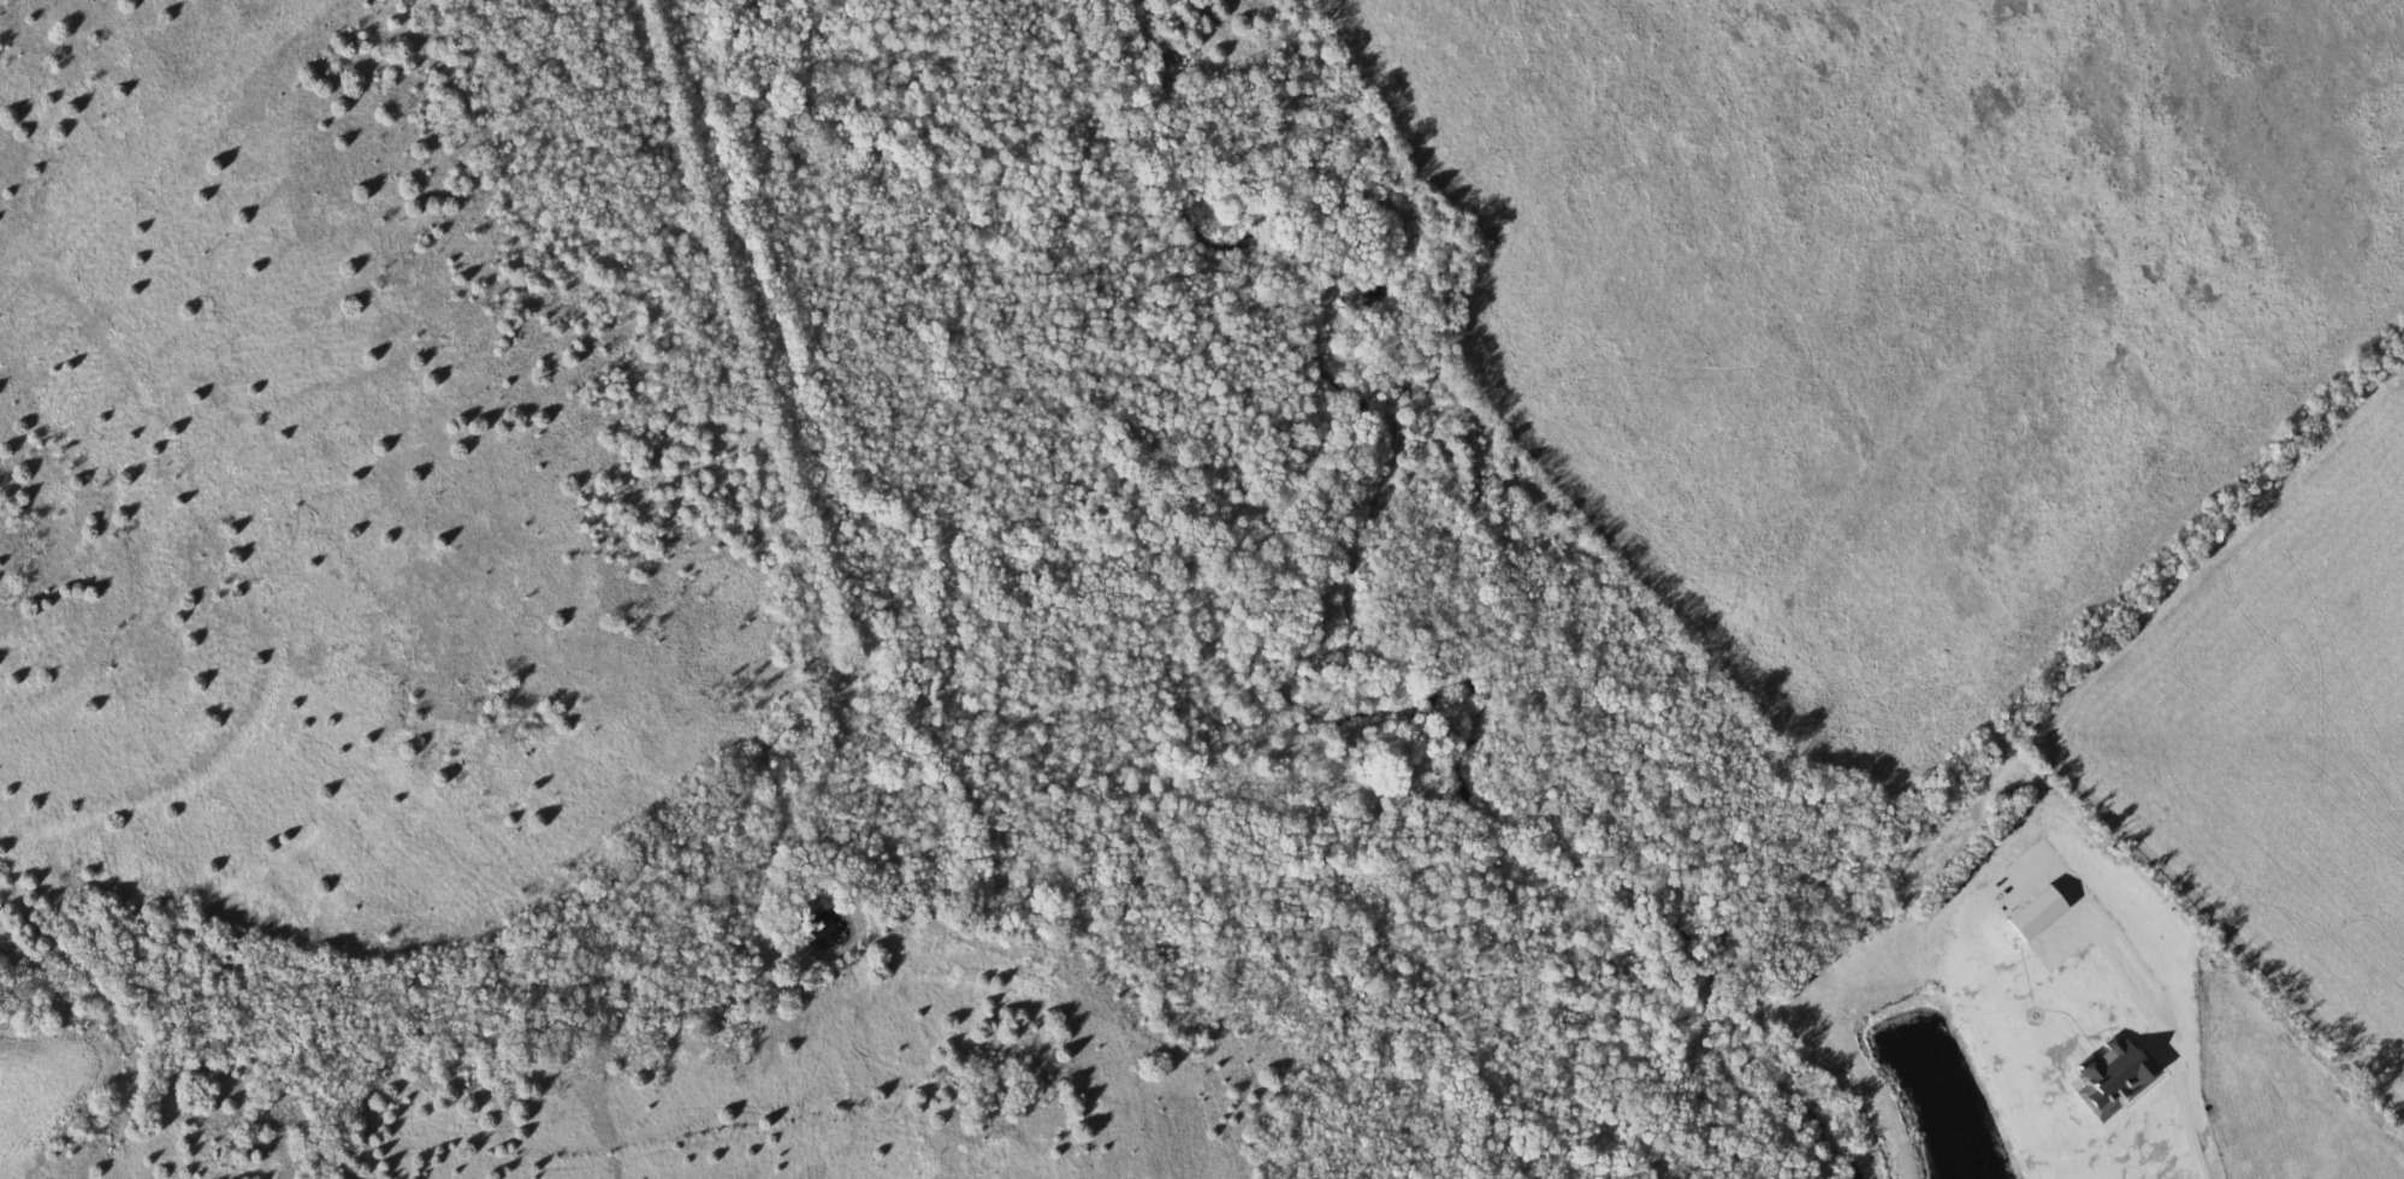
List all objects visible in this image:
road: (2179, 1110)

